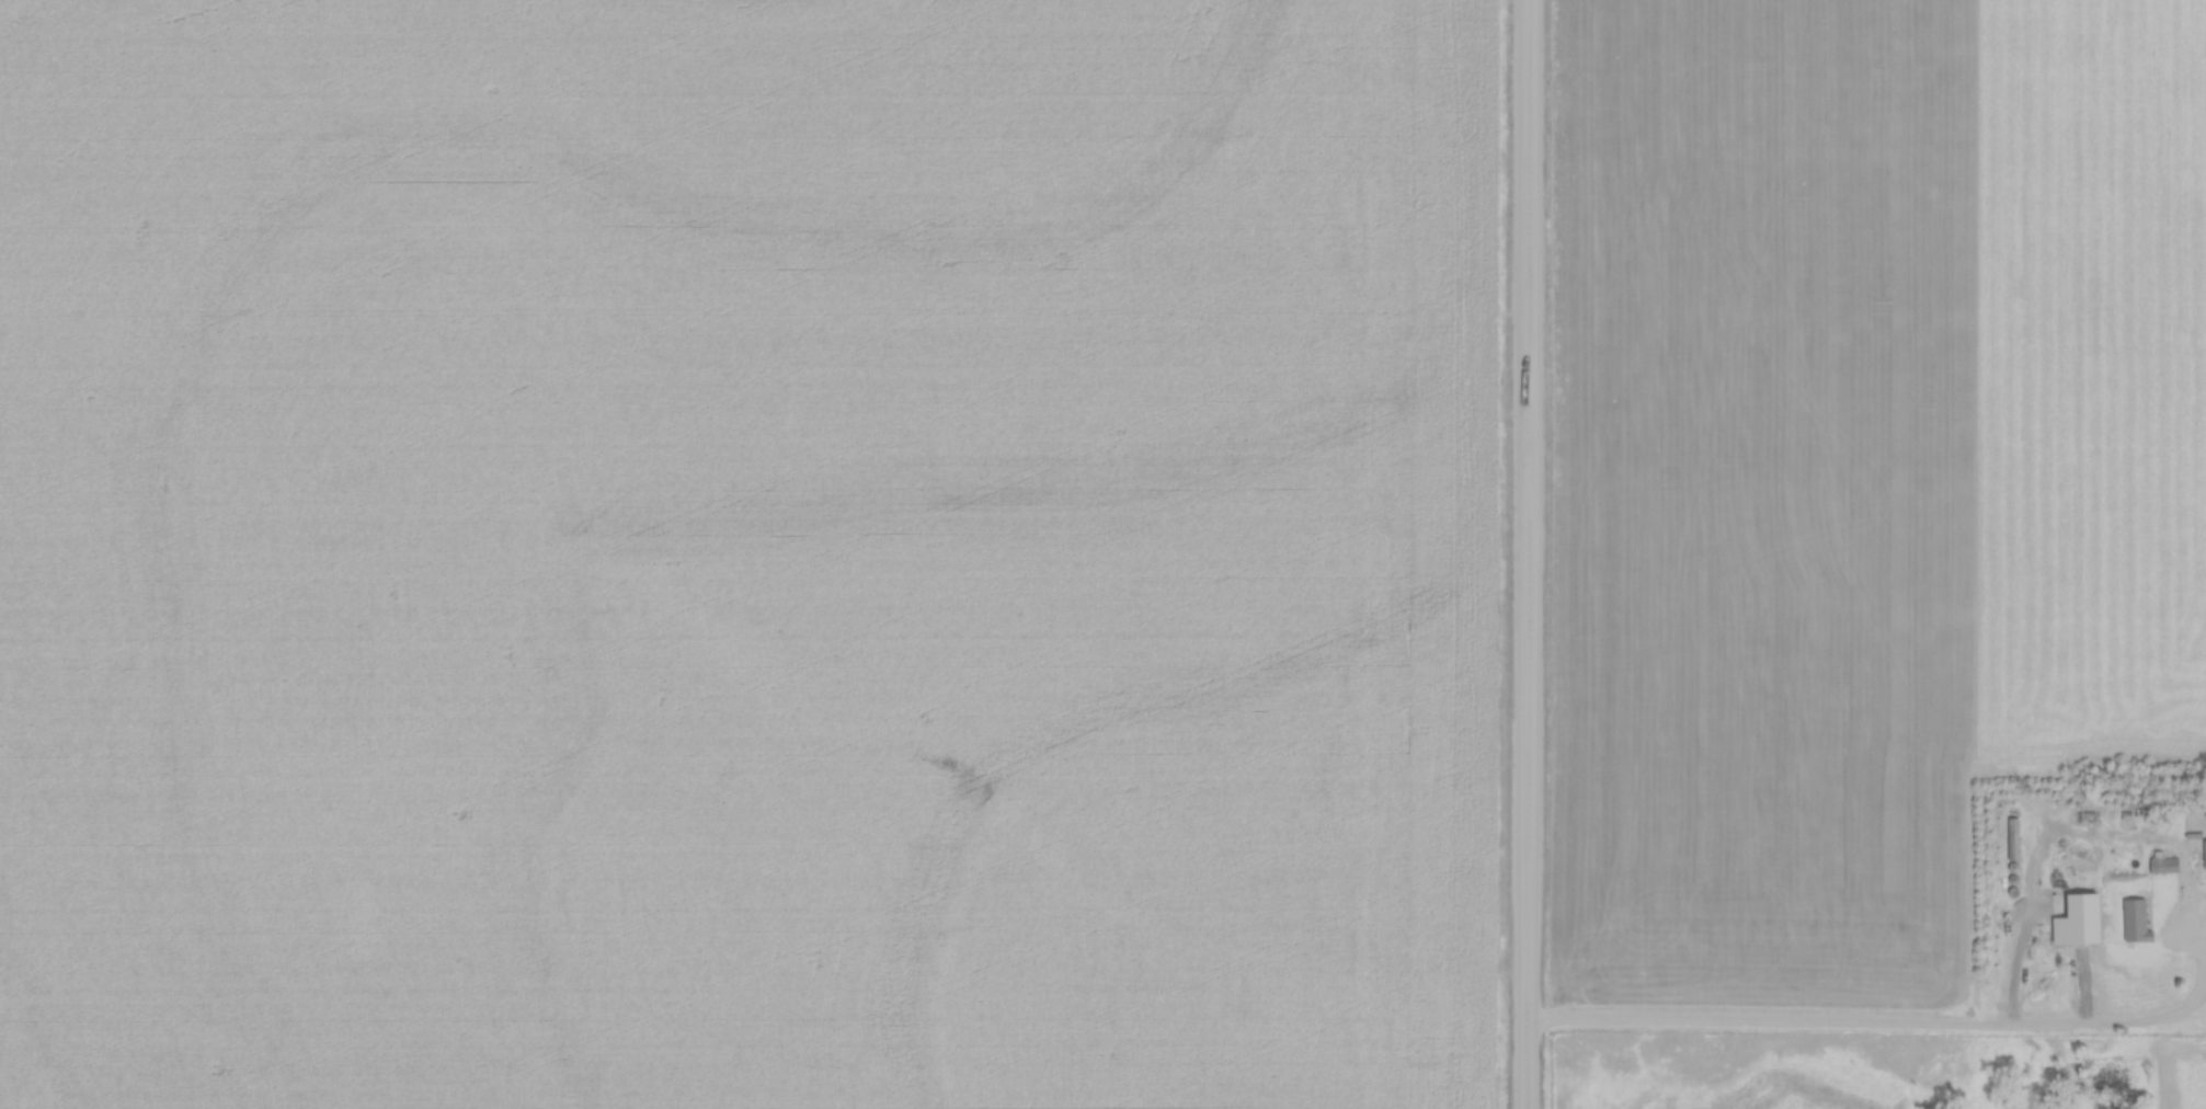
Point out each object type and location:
crop: (2085, 385)
crop: (1756, 501)
road: (1529, 554)
building: (2003, 836)
building: (2015, 837)
building: (2201, 850)
building: (2074, 853)
building: (2089, 919)
building: (2099, 921)
building: (2173, 926)
road: (2070, 939)
road: (1875, 1018)

